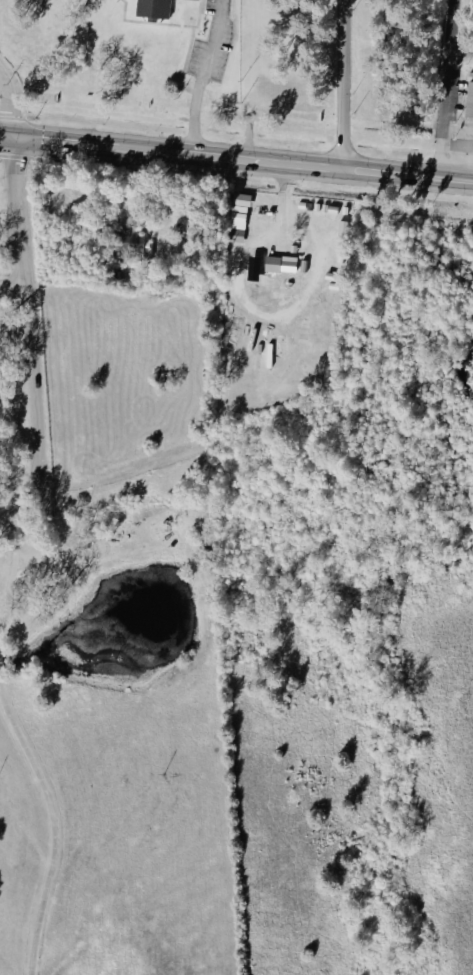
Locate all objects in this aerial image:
building: (149, 8)
road: (201, 76)
road: (347, 84)
road: (441, 89)
building: (468, 95)
road: (10, 103)
road: (6, 136)
traffic signals: (12, 137)
road: (77, 143)
road: (243, 159)
road: (388, 173)
road: (453, 179)
building: (241, 199)
road: (282, 200)
building: (239, 224)
building: (130, 239)
building: (278, 264)
building: (251, 267)
road: (12, 284)
road: (29, 336)
road: (9, 579)
road: (49, 828)

